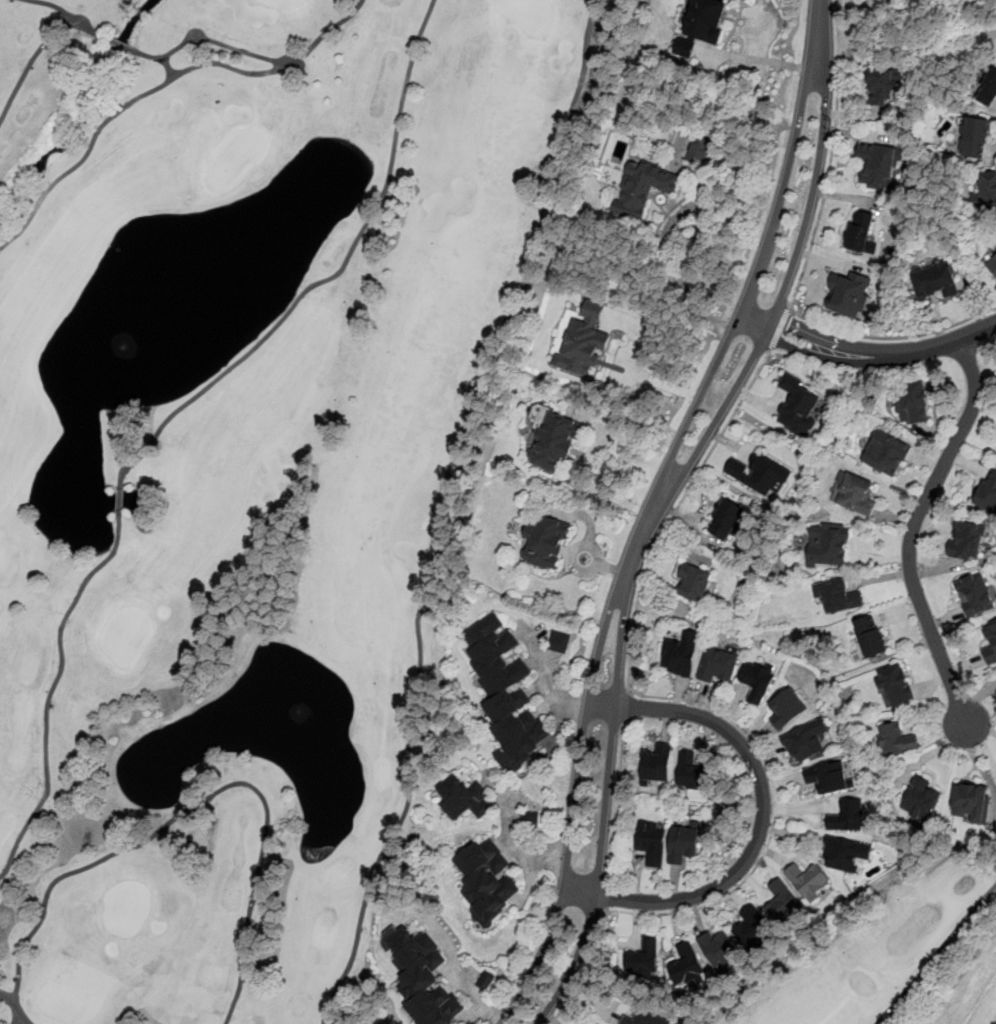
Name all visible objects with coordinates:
road: (68, 18)
building: (702, 24)
road: (211, 40)
road: (771, 62)
road: (168, 66)
road: (30, 68)
road: (161, 84)
building: (882, 89)
building: (988, 90)
building: (976, 138)
building: (700, 150)
building: (879, 165)
building: (642, 187)
building: (986, 192)
building: (860, 231)
road: (805, 262)
building: (992, 263)
road: (329, 277)
building: (934, 282)
road: (681, 290)
building: (849, 293)
road: (780, 327)
building: (584, 342)
road: (877, 357)
road: (733, 362)
building: (912, 403)
building: (797, 406)
building: (554, 443)
road: (590, 453)
building: (885, 454)
park: (243, 463)
building: (760, 473)
building: (988, 492)
building: (856, 495)
road: (447, 510)
road: (675, 510)
building: (726, 520)
road: (913, 530)
building: (967, 541)
building: (545, 543)
building: (828, 545)
building: (694, 582)
building: (976, 594)
building: (838, 596)
building: (871, 637)
building: (558, 642)
building: (990, 644)
building: (680, 654)
building: (718, 665)
building: (757, 680)
road: (553, 683)
building: (895, 686)
building: (506, 688)
road: (51, 690)
road: (626, 704)
building: (787, 707)
building: (806, 741)
building: (896, 741)
building: (656, 764)
building: (692, 774)
building: (829, 777)
road: (591, 786)
building: (463, 799)
building: (921, 800)
road: (617, 802)
building: (971, 804)
road: (774, 815)
road: (763, 816)
building: (849, 816)
building: (651, 842)
road: (130, 845)
building: (682, 845)
road: (522, 851)
building: (845, 854)
road: (582, 875)
building: (485, 880)
building: (808, 880)
road: (608, 896)
building: (782, 903)
building: (752, 928)
building: (719, 949)
road: (242, 951)
road: (939, 953)
park: (906, 954)
building: (643, 959)
road: (559, 962)
building: (687, 964)
road: (584, 968)
building: (423, 978)
building: (485, 981)
road: (465, 984)
road: (9, 998)
road: (20, 1016)
building: (638, 1018)

